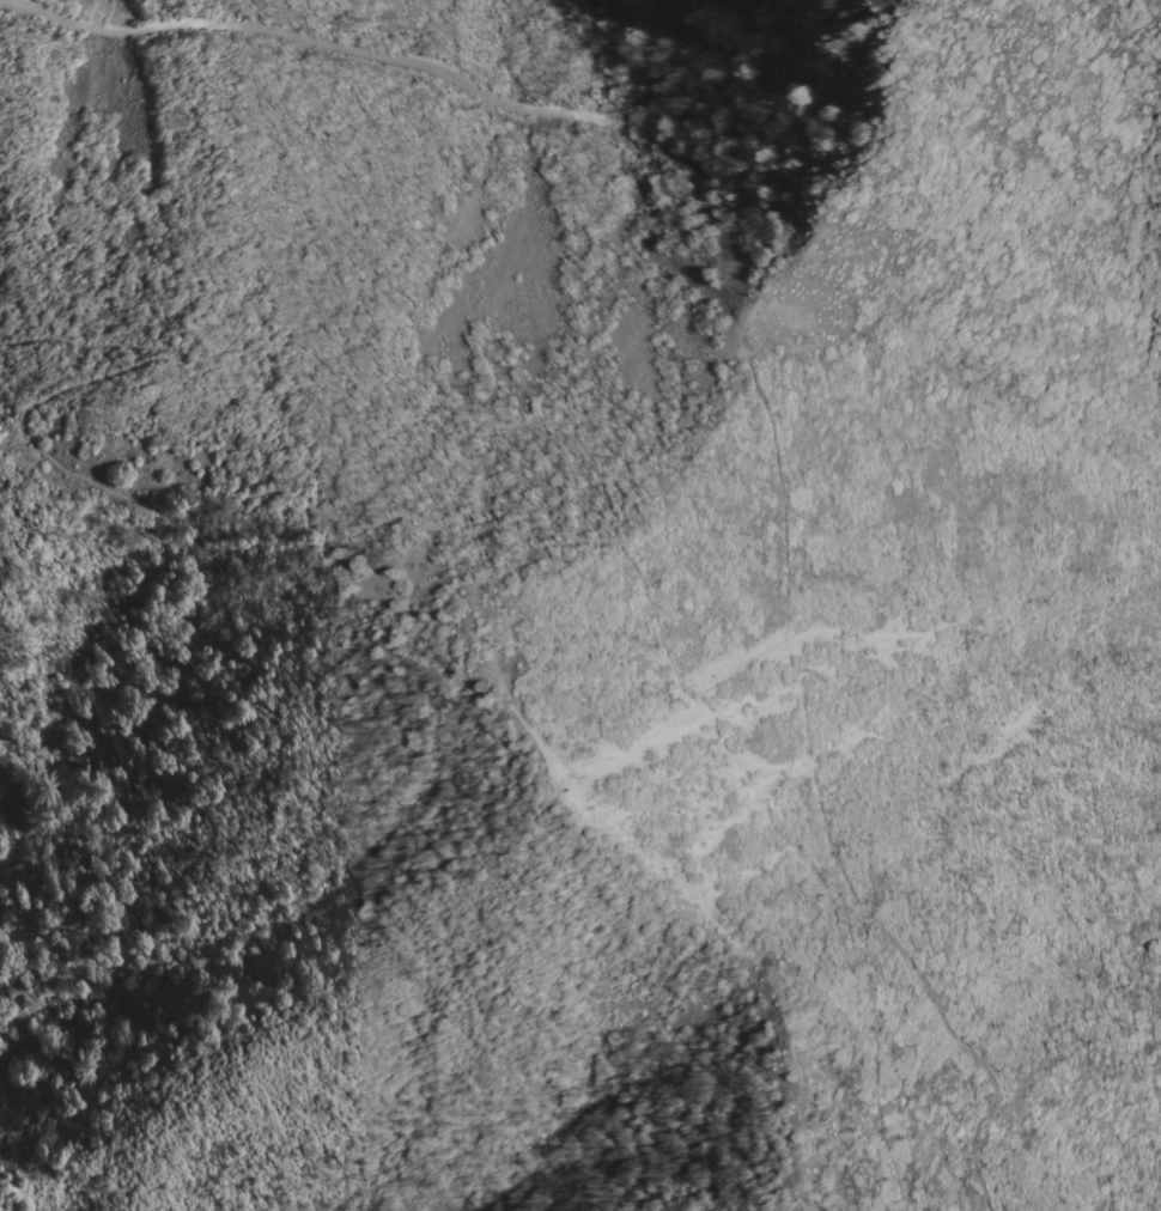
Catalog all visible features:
road: (378, 55)
road: (863, 166)
road: (770, 451)
road: (43, 455)
road: (646, 604)
road: (487, 643)
road: (415, 652)
road: (967, 1047)

